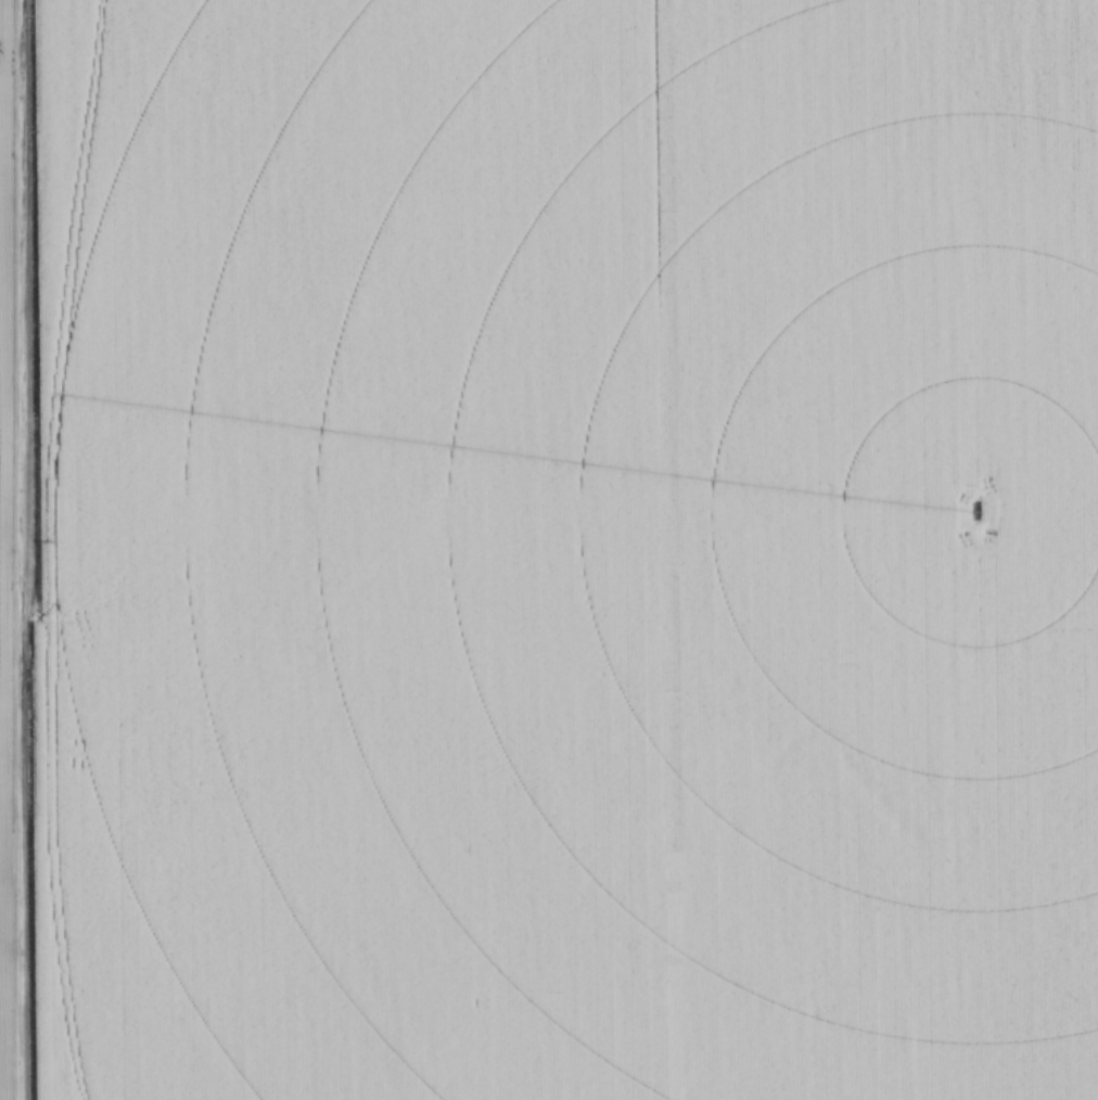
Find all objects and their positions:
crop: (549, 550)

